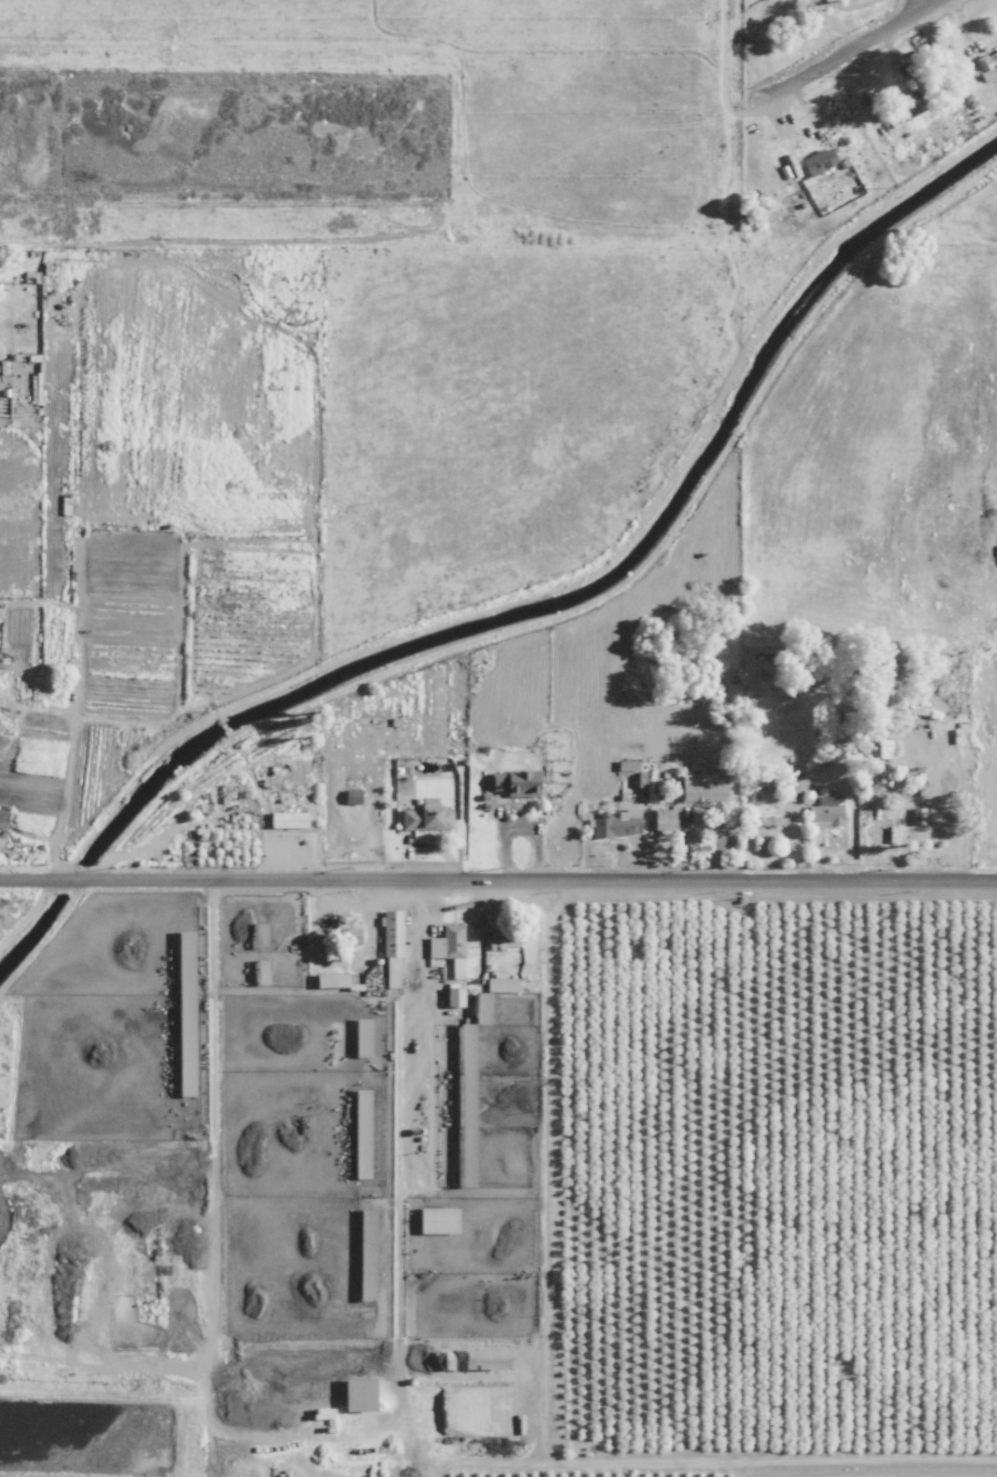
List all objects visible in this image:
road: (920, 7)
road: (742, 54)
building: (987, 64)
crop: (483, 74)
building: (907, 107)
road: (712, 119)
building: (817, 161)
crop: (948, 180)
road: (183, 240)
building: (625, 765)
building: (639, 779)
building: (514, 782)
building: (792, 782)
building: (700, 788)
building: (824, 815)
building: (425, 816)
building: (662, 819)
building: (287, 820)
building: (616, 823)
road: (498, 879)
road: (380, 904)
building: (257, 935)
building: (351, 935)
building: (503, 938)
building: (391, 948)
building: (448, 948)
building: (259, 972)
building: (329, 980)
building: (452, 997)
building: (479, 1008)
building: (360, 1037)
building: (360, 1105)
building: (360, 1174)
building: (464, 1183)
building: (436, 1220)
building: (469, 1358)
building: (356, 1393)

